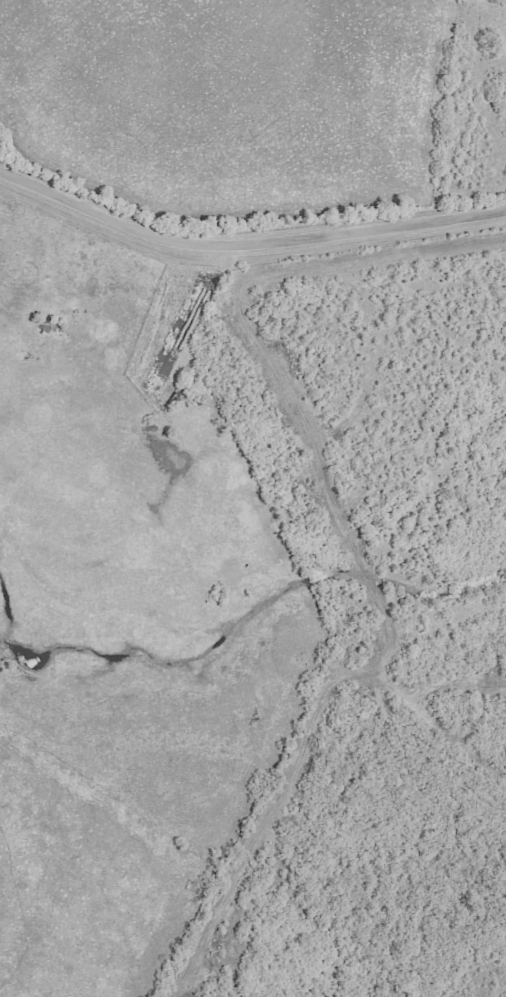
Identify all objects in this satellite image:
road: (247, 248)

